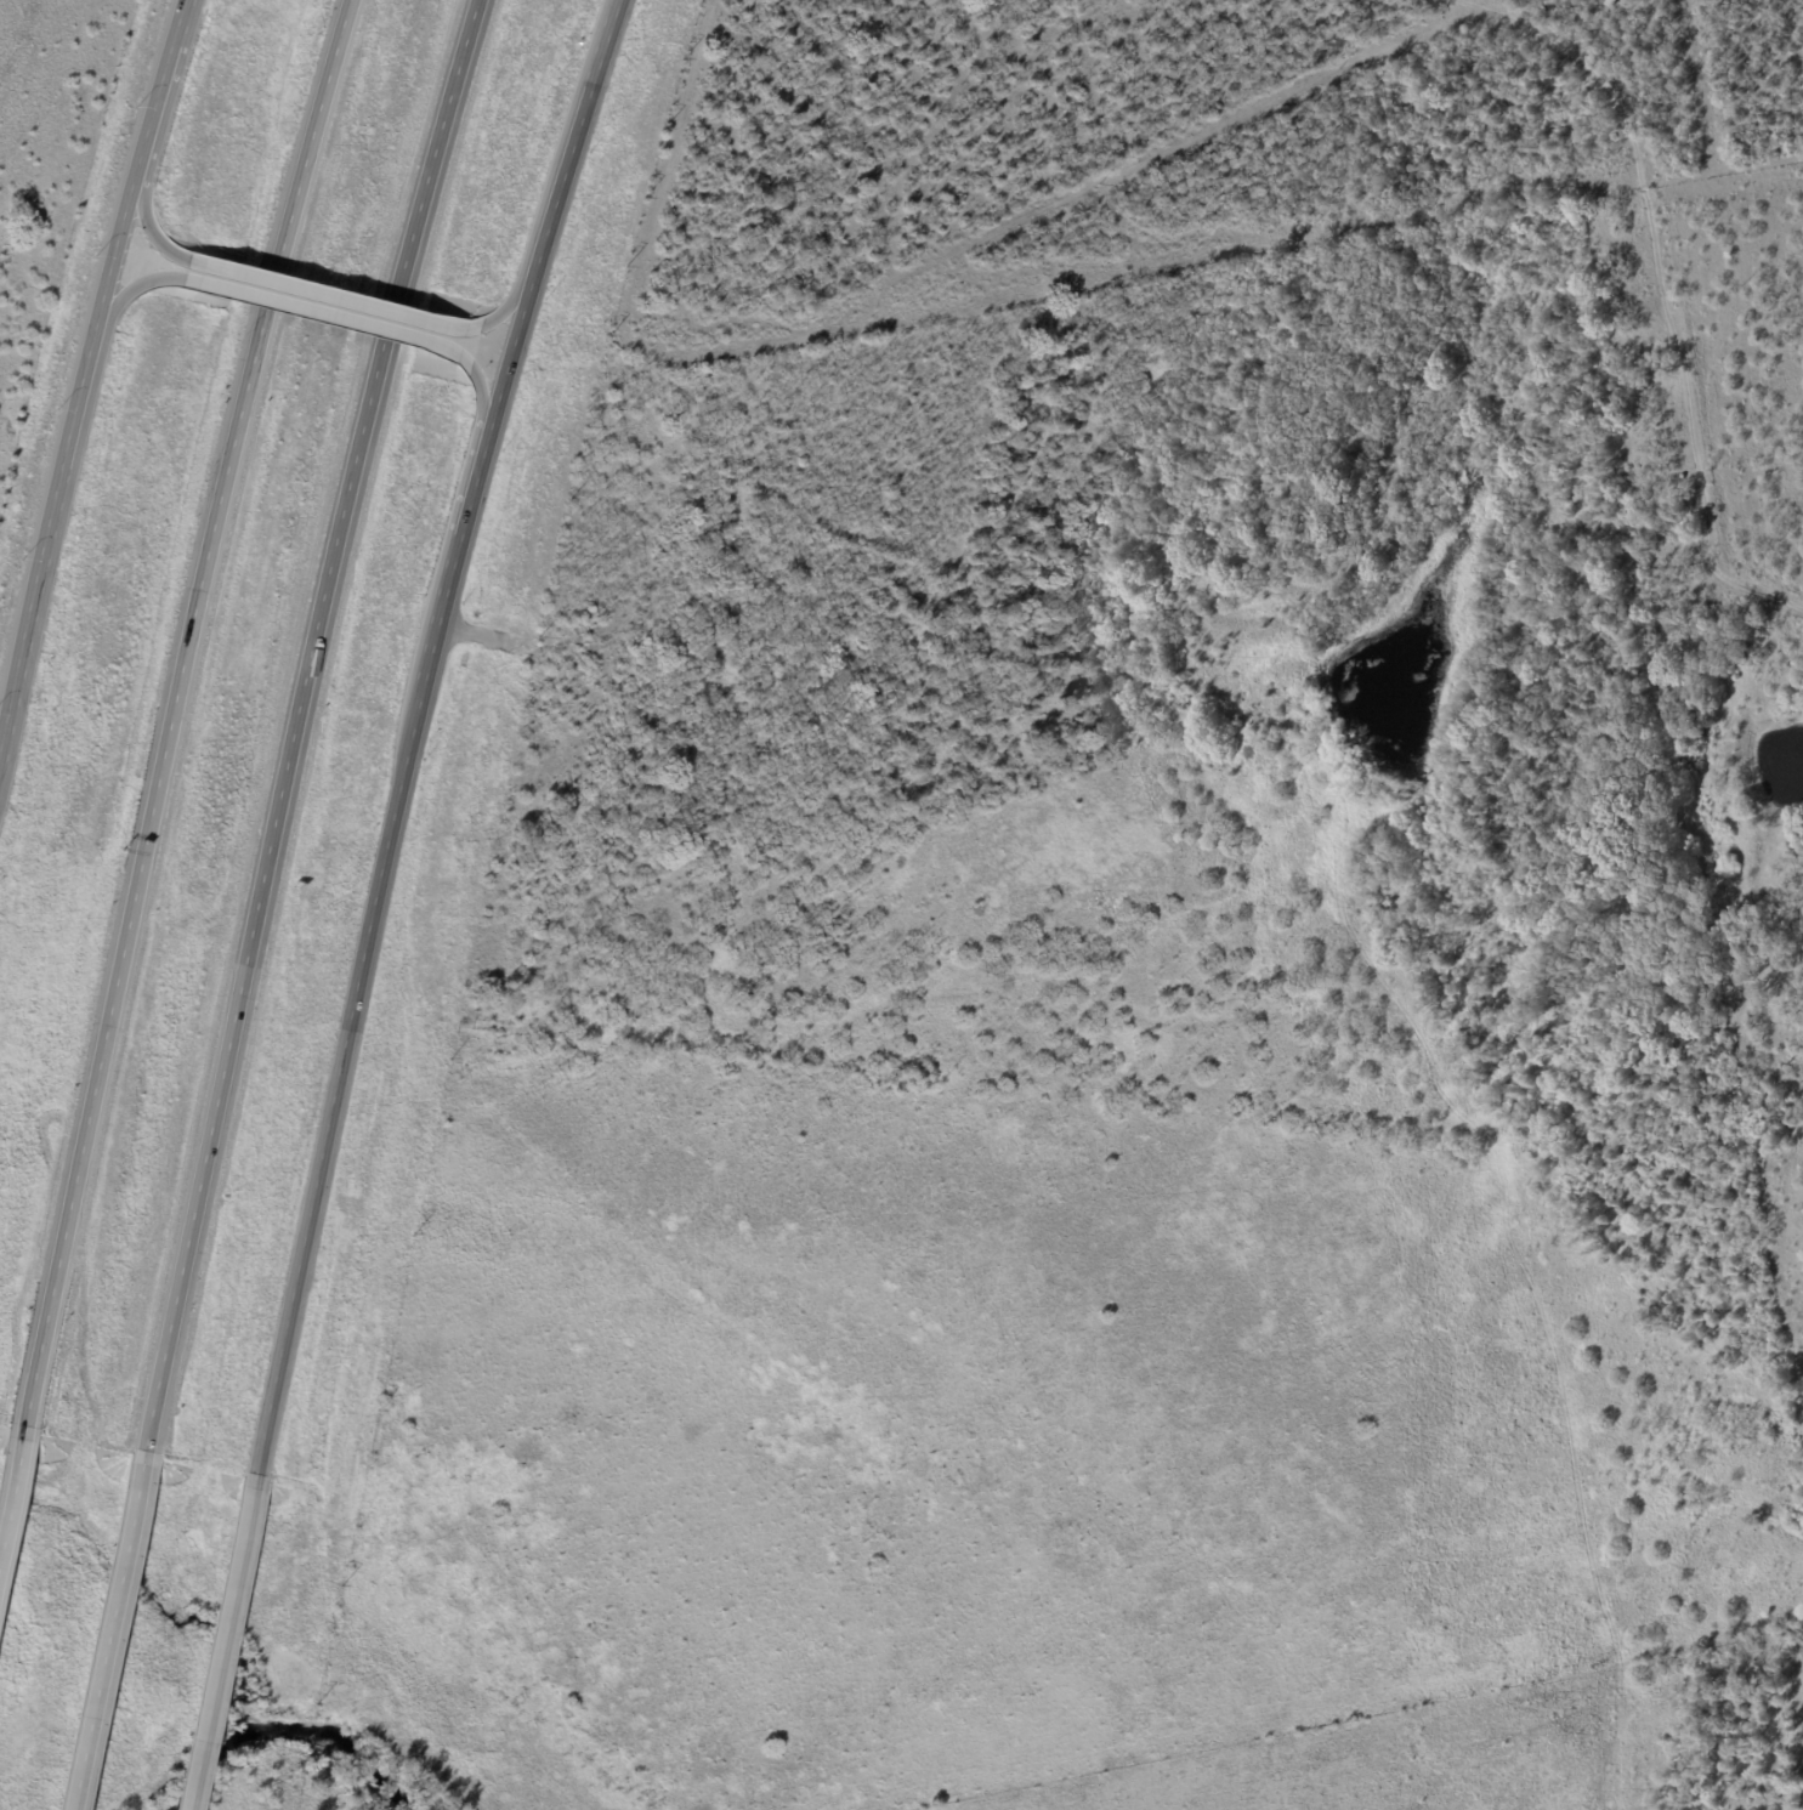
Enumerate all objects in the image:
road: (143, 216)
road: (132, 288)
road: (318, 294)
road: (501, 311)
road: (313, 313)
road: (86, 371)
road: (482, 392)
road: (165, 711)
road: (293, 724)
road: (408, 732)
road: (7, 1470)
road: (102, 1634)
road: (216, 1645)

